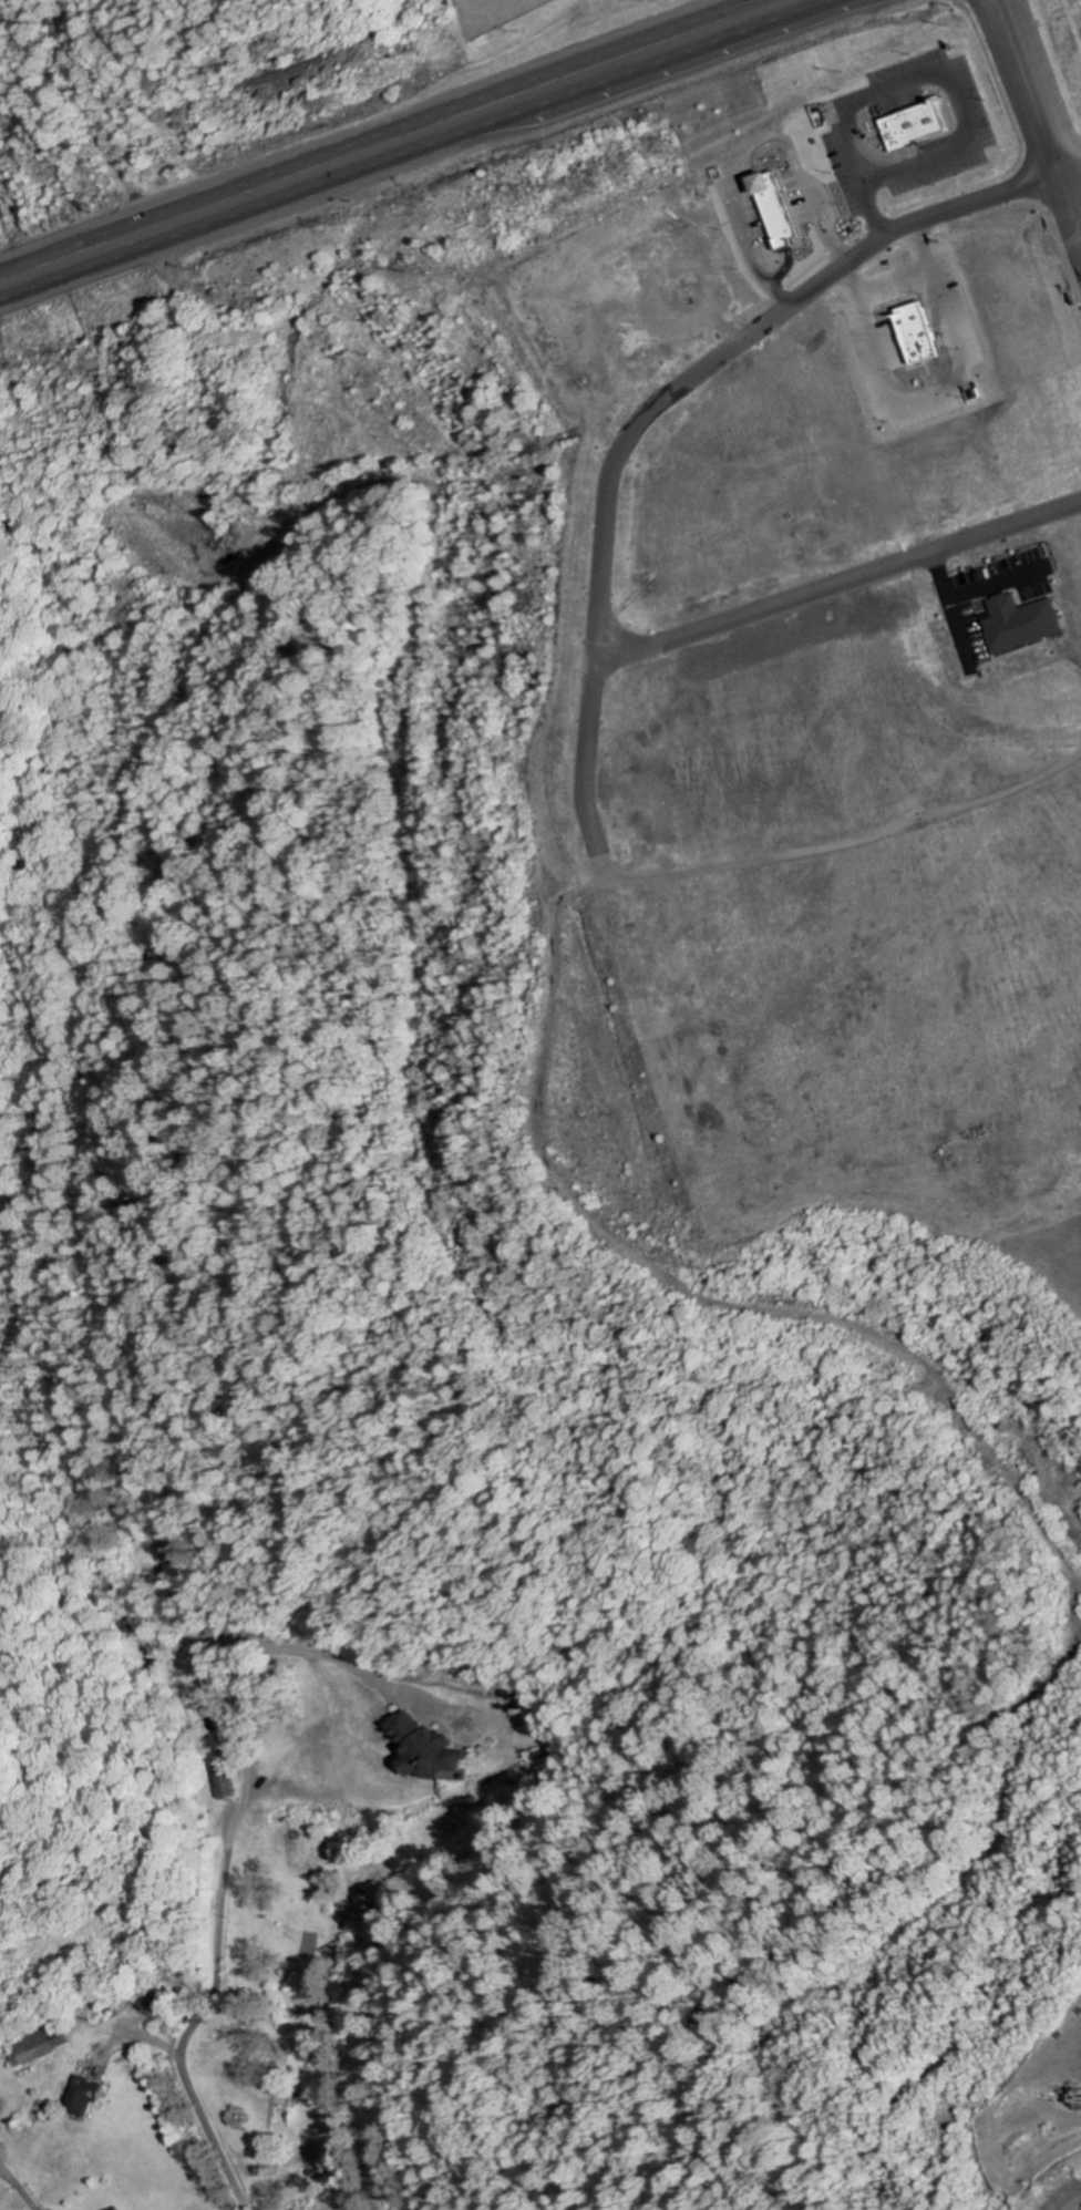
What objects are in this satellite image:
road: (1044, 103)
building: (925, 127)
road: (369, 132)
road: (422, 152)
building: (784, 210)
building: (926, 335)
building: (1025, 625)
building: (434, 1749)
road: (200, 2015)
road: (294, 2041)
building: (90, 2097)
building: (121, 2208)

